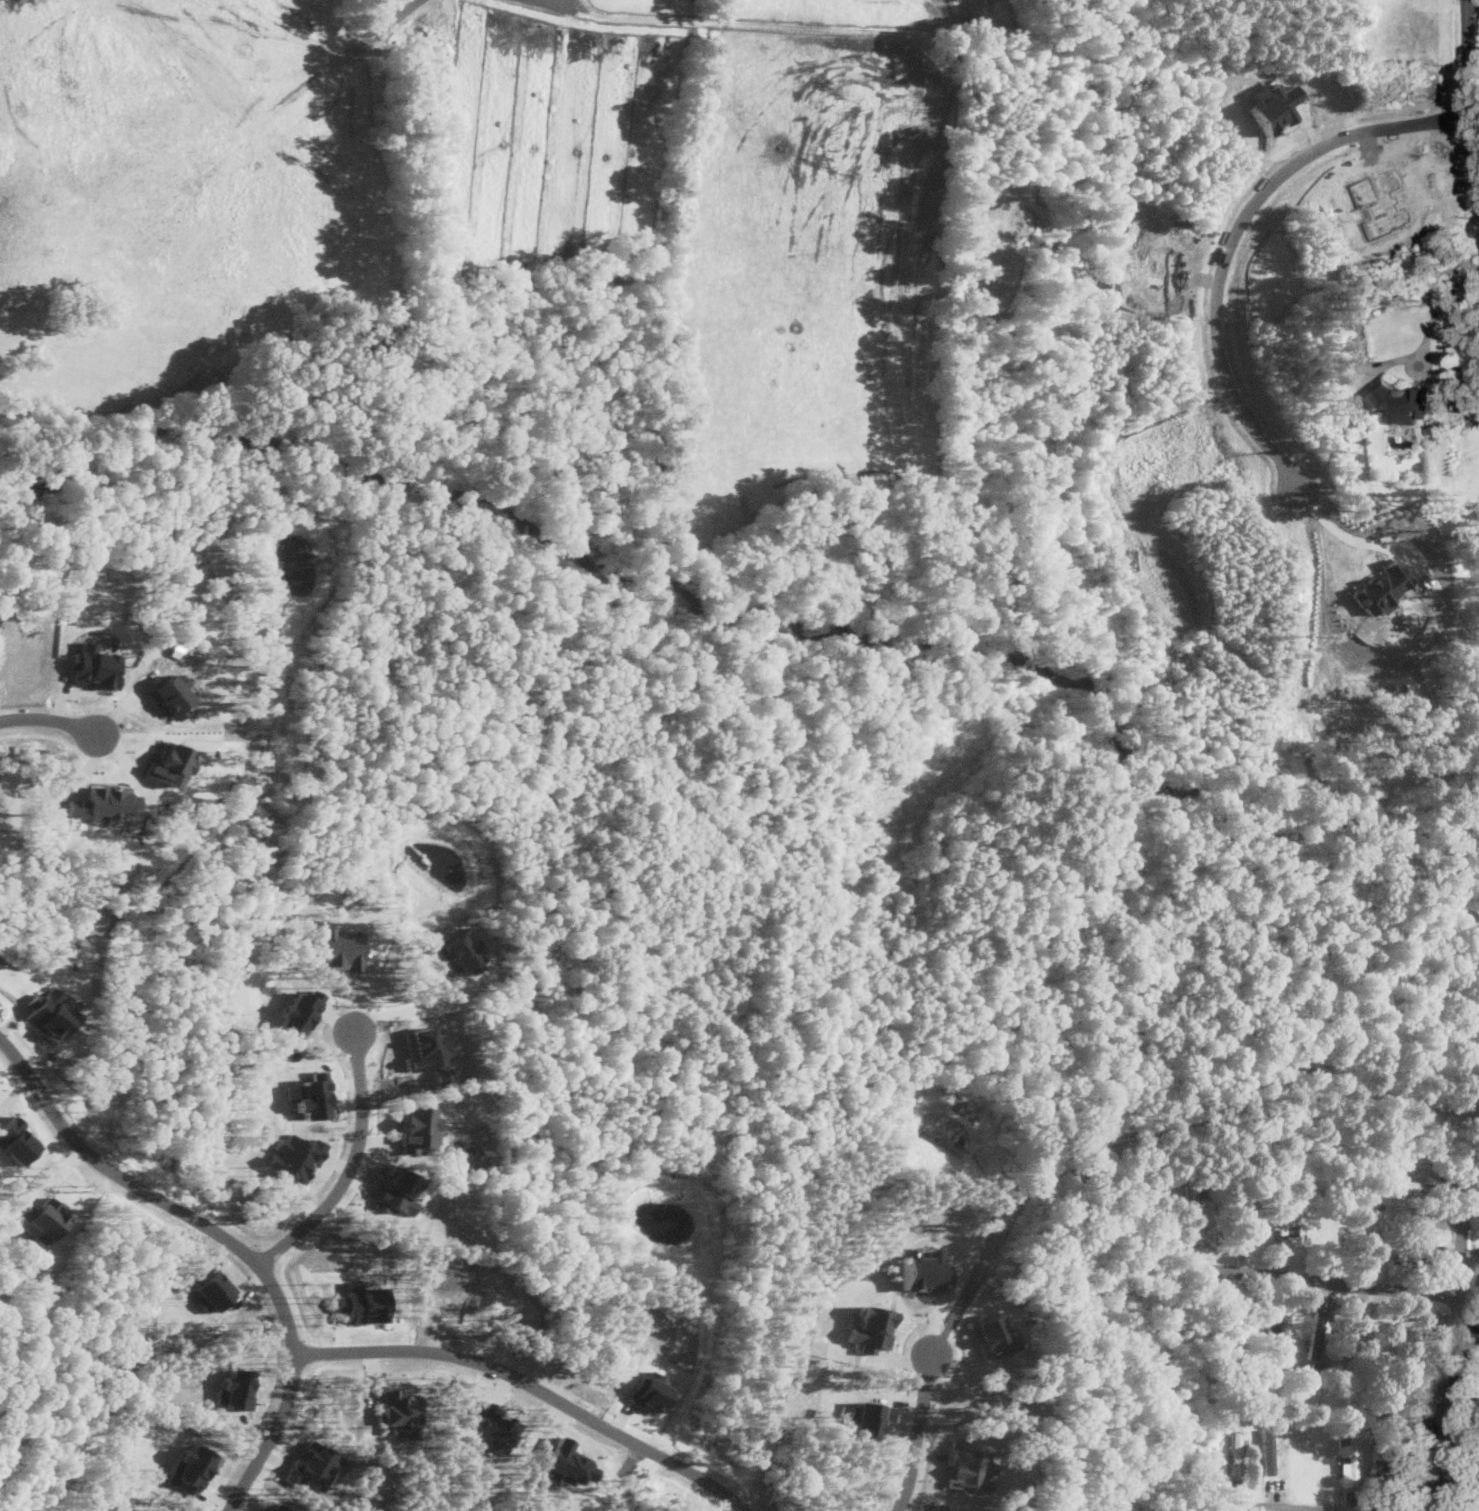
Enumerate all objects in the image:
road: (1469, 78)
road: (1234, 235)
crop: (552, 253)
road: (1437, 308)
building: (1400, 400)
road: (1351, 538)
building: (1380, 587)
building: (94, 664)
building: (172, 694)
road: (45, 718)
building: (169, 762)
building: (108, 802)
building: (76, 806)
building: (340, 948)
building: (460, 952)
building: (299, 1010)
road: (415, 1010)
building: (50, 1012)
building: (311, 1094)
building: (416, 1126)
building: (15, 1138)
building: (294, 1156)
road: (352, 1160)
building: (1415, 1184)
building: (398, 1189)
building: (1192, 1204)
building: (1476, 1209)
building: (1284, 1215)
building: (43, 1217)
road: (229, 1239)
building: (1422, 1251)
building: (923, 1268)
road: (1325, 1280)
building: (211, 1290)
building: (360, 1300)
building: (1411, 1322)
building: (869, 1325)
building: (1477, 1326)
building: (994, 1335)
road: (1457, 1339)
road: (533, 1385)
building: (234, 1387)
building: (647, 1390)
building: (398, 1411)
building: (871, 1417)
building: (492, 1426)
road: (918, 1429)
building: (1267, 1450)
building: (1235, 1451)
building: (1351, 1460)
building: (315, 1462)
building: (566, 1462)
building: (192, 1467)
building: (969, 1467)
building: (1406, 1467)
building: (1375, 1468)
building: (277, 1506)
building: (939, 1506)
road: (1265, 1508)

